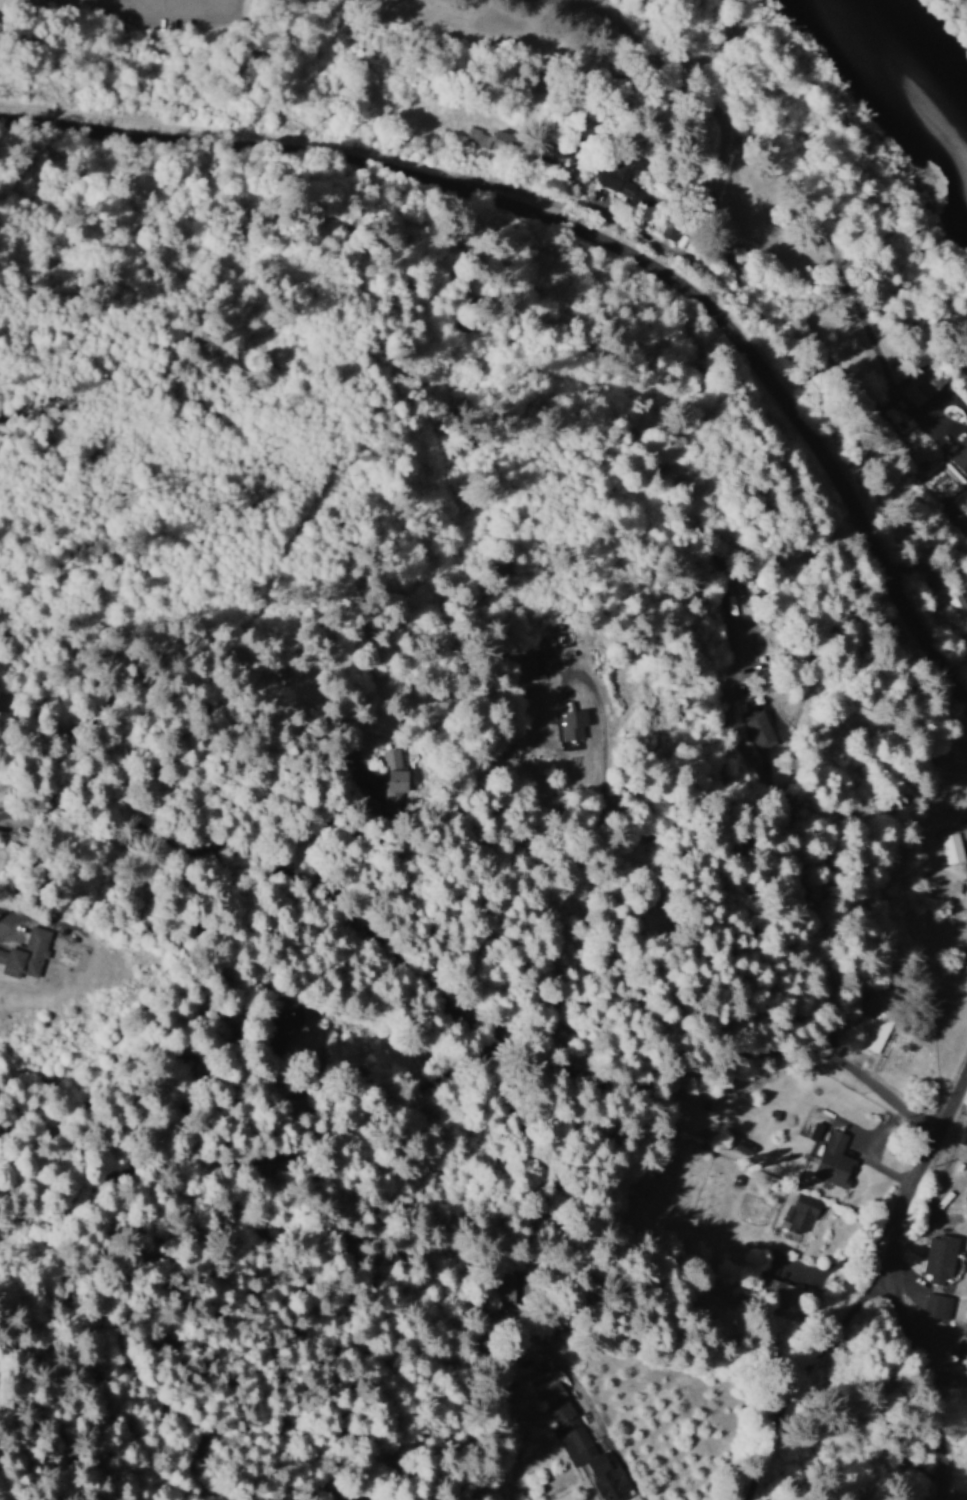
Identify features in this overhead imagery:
river: (932, 55)
building: (478, 137)
building: (504, 139)
building: (624, 180)
railway: (556, 182)
building: (671, 230)
road: (598, 236)
road: (413, 306)
road: (420, 390)
road: (905, 422)
road: (551, 561)
building: (960, 608)
building: (544, 658)
road: (461, 673)
building: (572, 723)
building: (761, 730)
building: (394, 774)
building: (965, 796)
building: (951, 847)
building: (966, 860)
road: (278, 861)
road: (849, 912)
building: (26, 954)
building: (874, 1029)
road: (546, 1074)
building: (834, 1159)
road: (215, 1163)
building: (800, 1214)
building: (939, 1257)
road: (895, 1278)
building: (937, 1305)
building: (959, 1335)
road: (778, 1429)
road: (719, 1430)
building: (583, 1447)

